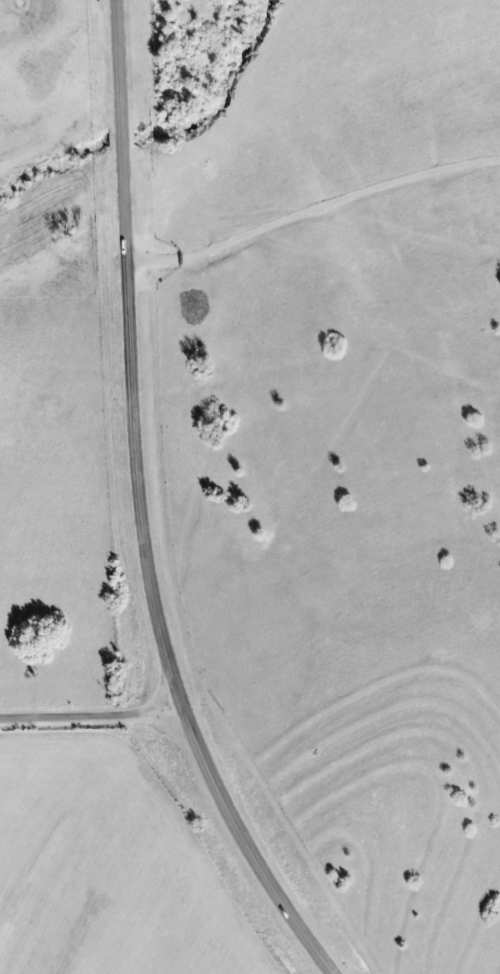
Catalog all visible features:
road: (311, 204)
road: (139, 510)
road: (91, 715)

